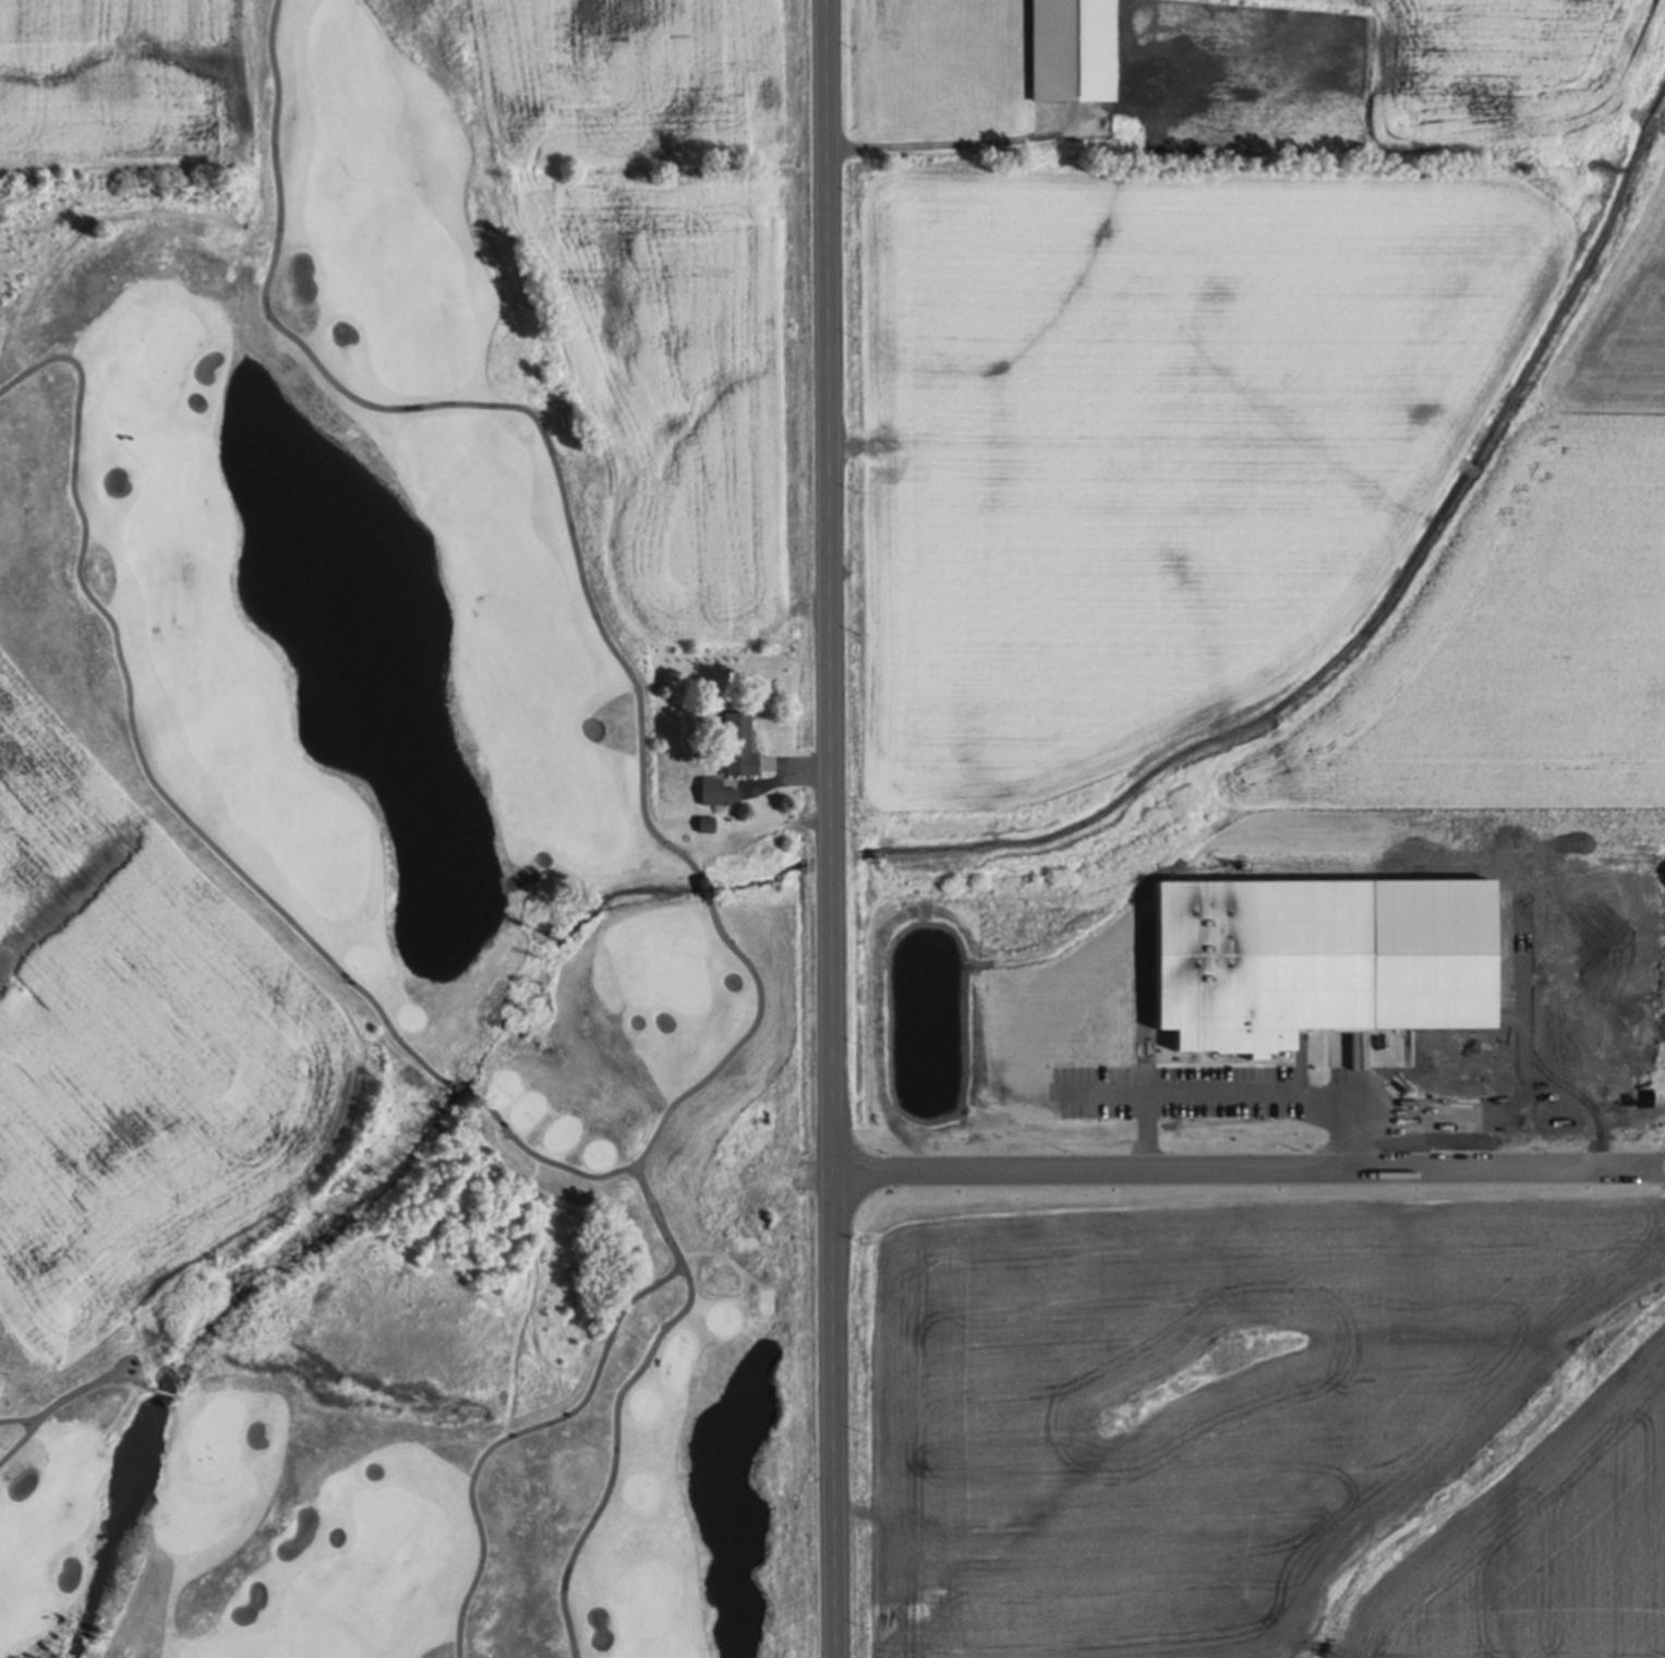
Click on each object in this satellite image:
building: (1071, 51)
road: (953, 145)
crop: (1274, 432)
building: (735, 738)
building: (715, 788)
building: (704, 819)
road: (836, 828)
building: (703, 881)
park: (410, 939)
building: (1256, 1034)
road: (1242, 1092)
road: (1142, 1129)
road: (1251, 1166)
crop: (1256, 1426)

